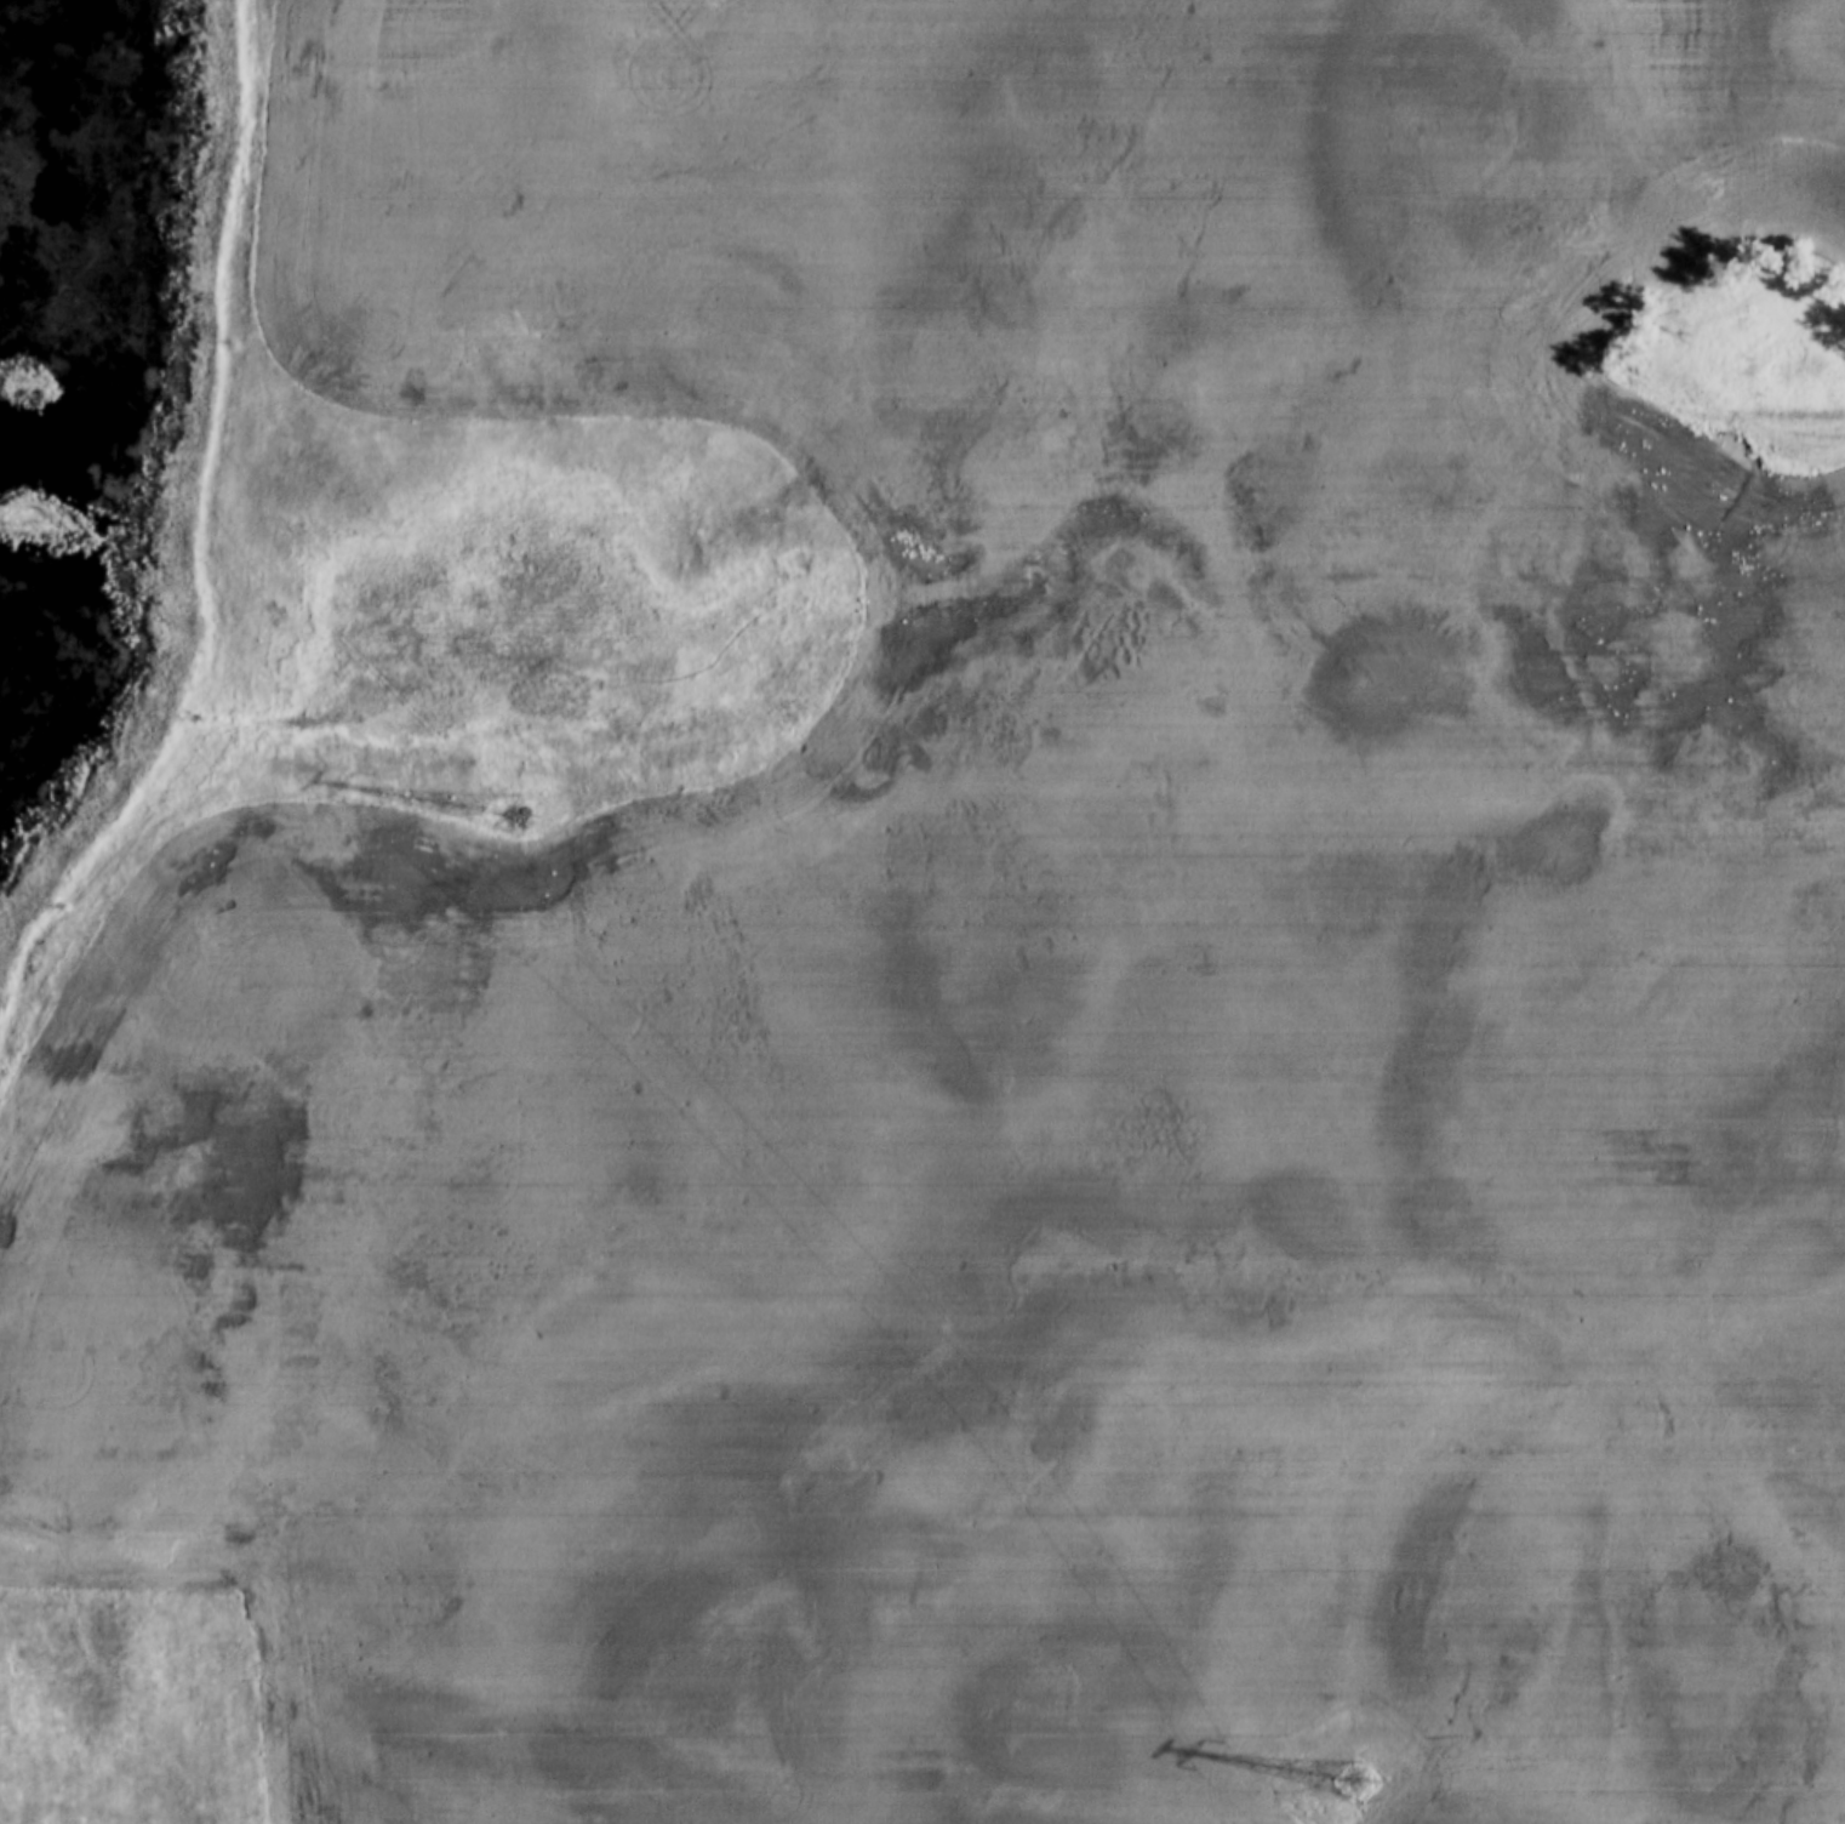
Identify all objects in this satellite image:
power tower: (524, 821)
power tower: (1365, 1785)

